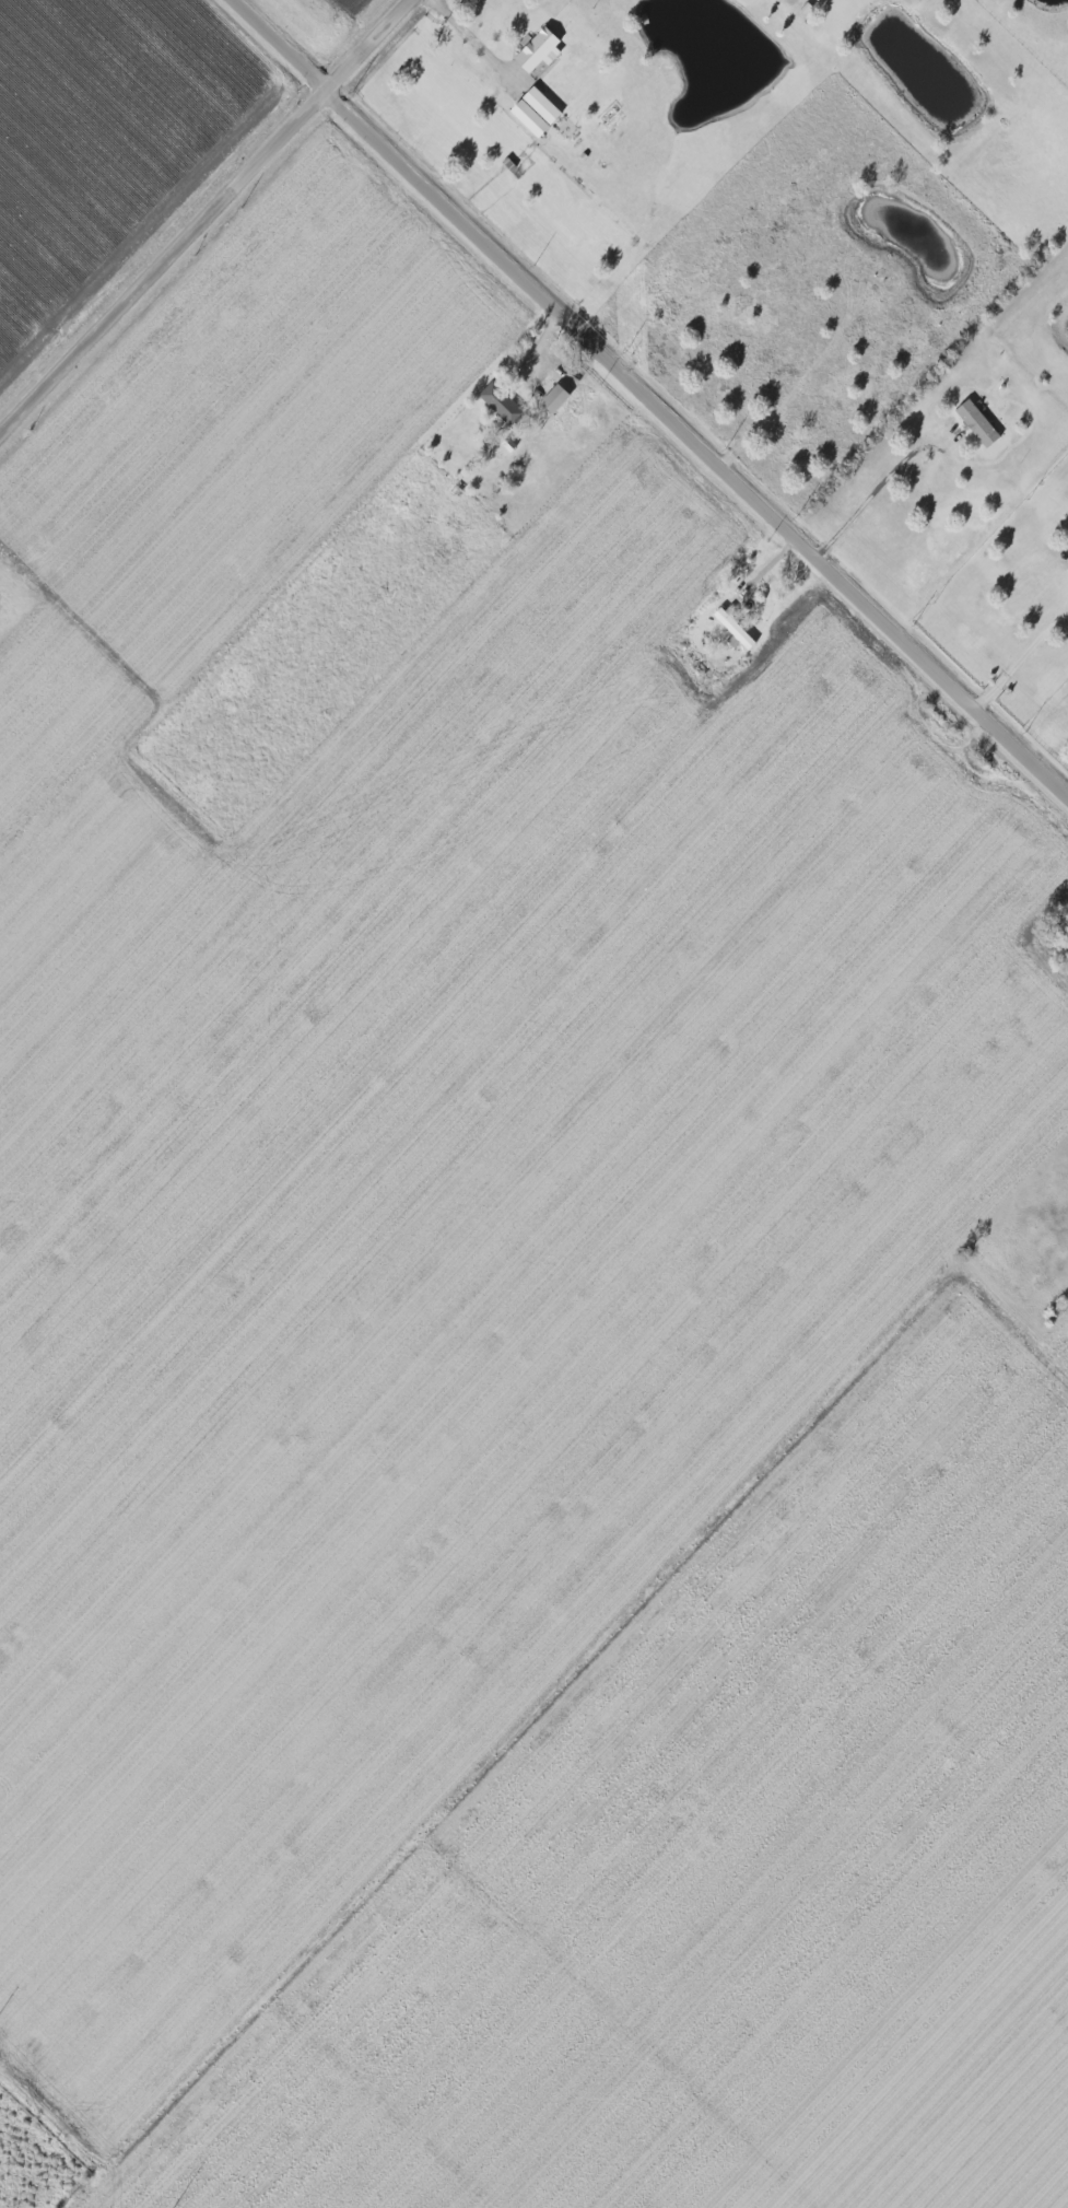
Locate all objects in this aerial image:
road: (787, 0)
road: (470, 39)
building: (540, 50)
building: (540, 110)
road: (210, 219)
road: (653, 396)
building: (556, 398)
building: (502, 402)
building: (981, 423)
road: (873, 496)
building: (736, 630)
road: (1020, 655)
road: (62, 2099)
road: (99, 2182)

